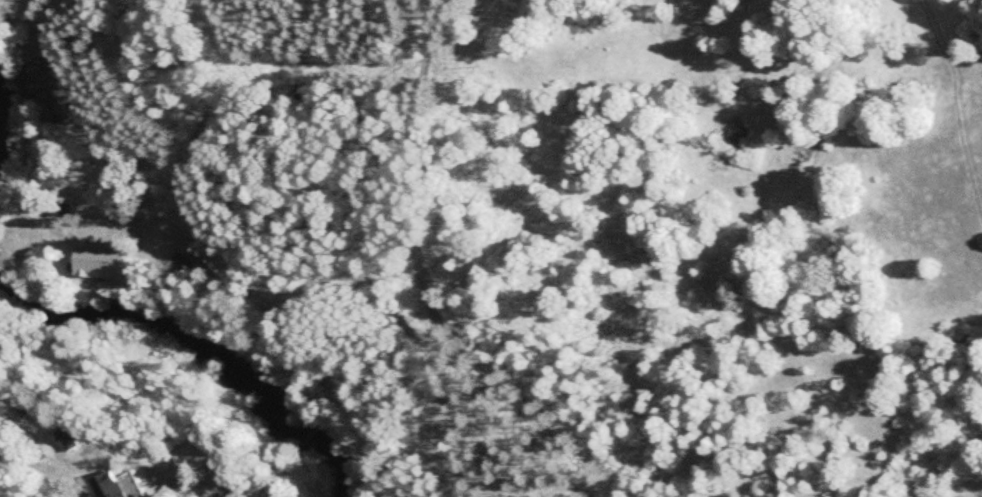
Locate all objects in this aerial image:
building: (54, 87)
road: (176, 234)
road: (417, 250)
building: (105, 258)
building: (181, 264)
road: (360, 275)
river: (202, 342)
road: (29, 430)
building: (118, 485)

